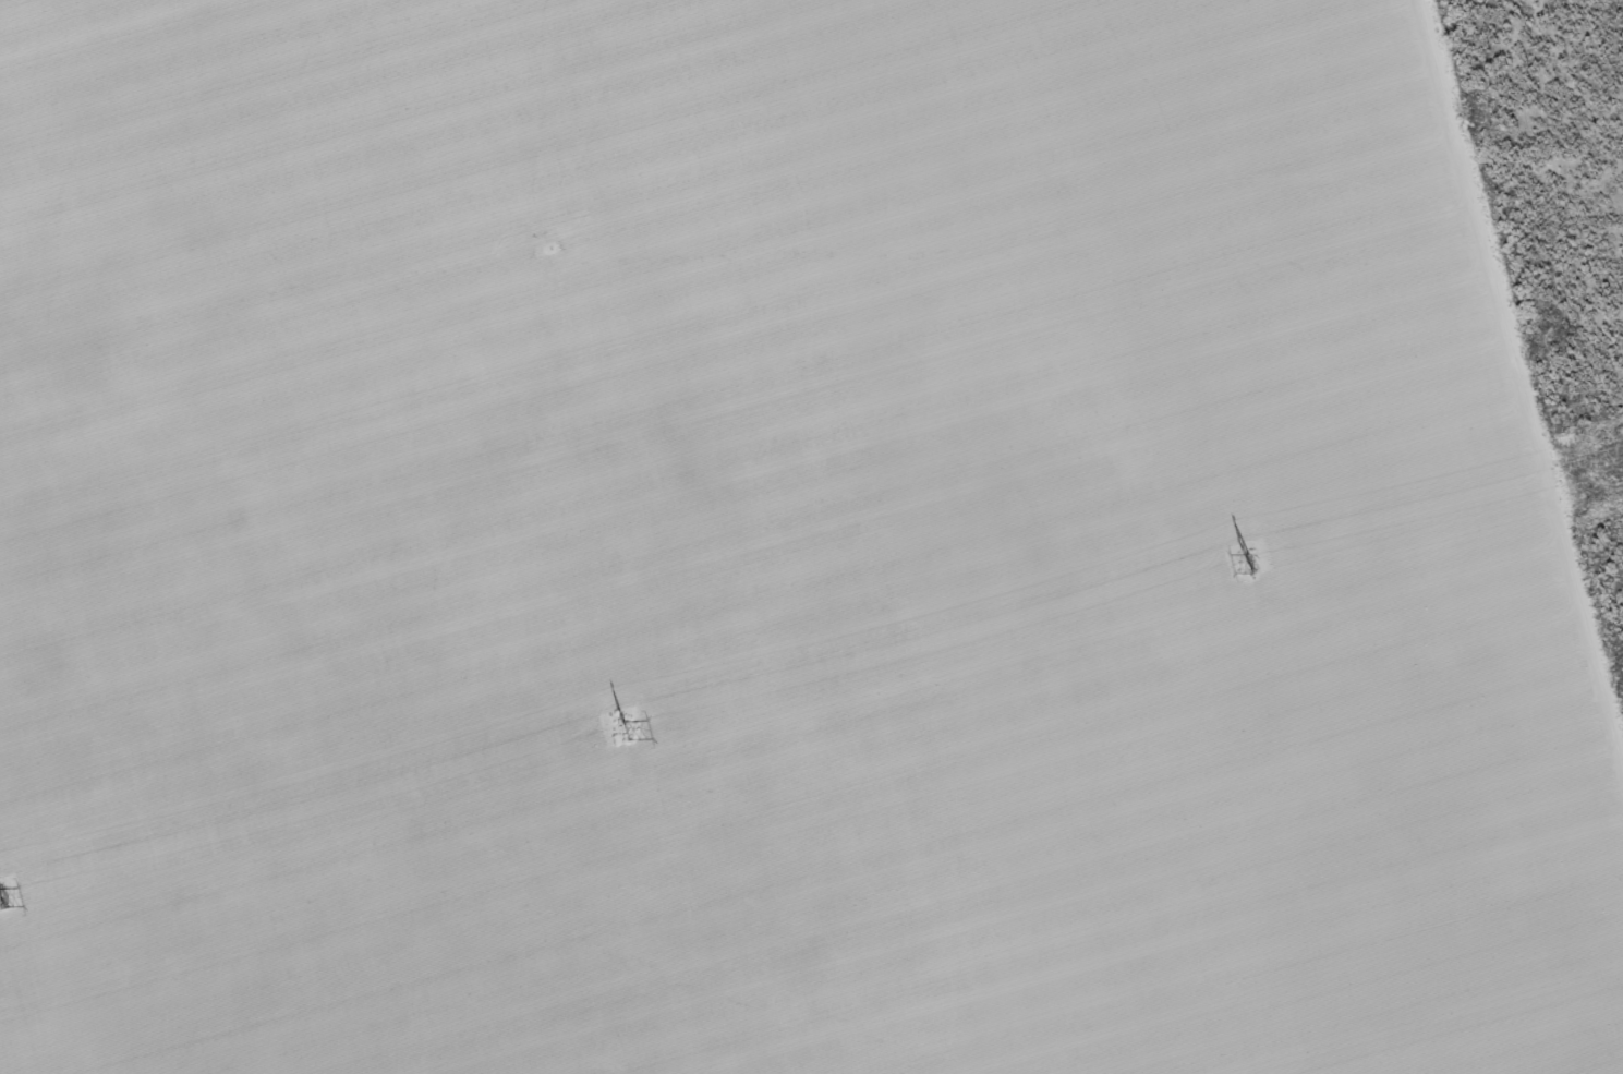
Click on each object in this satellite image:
road: (123, 32)
power tower: (1250, 564)
power tower: (626, 729)
power tower: (1, 896)

